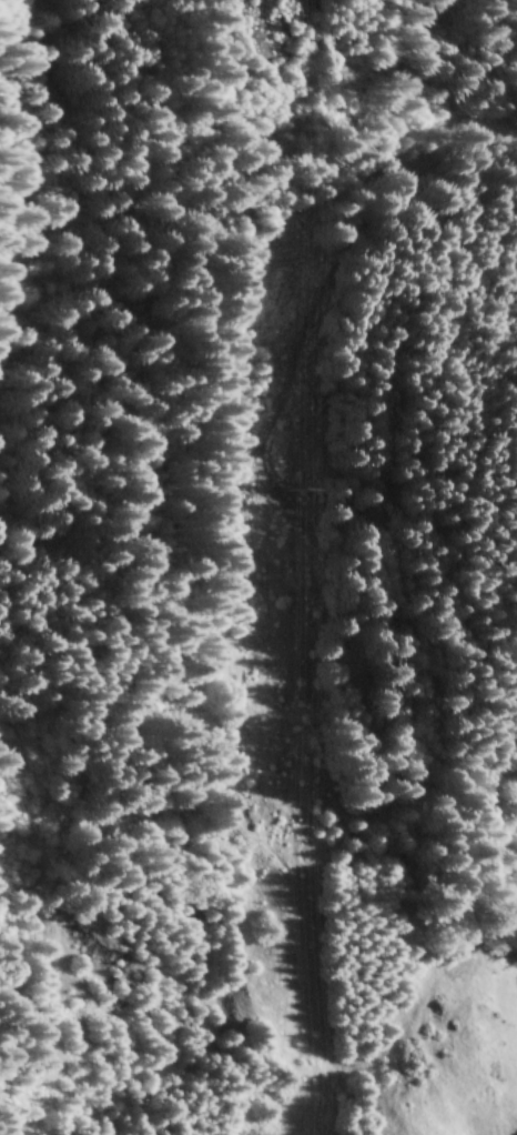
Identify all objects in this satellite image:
power tower: (281, 495)

